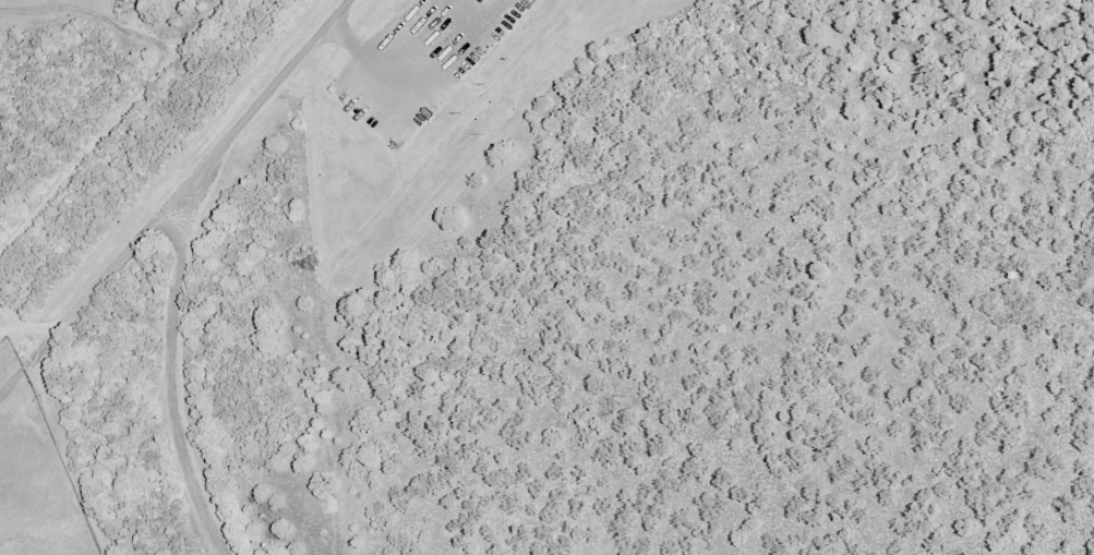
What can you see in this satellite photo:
road: (176, 200)
road: (171, 369)

